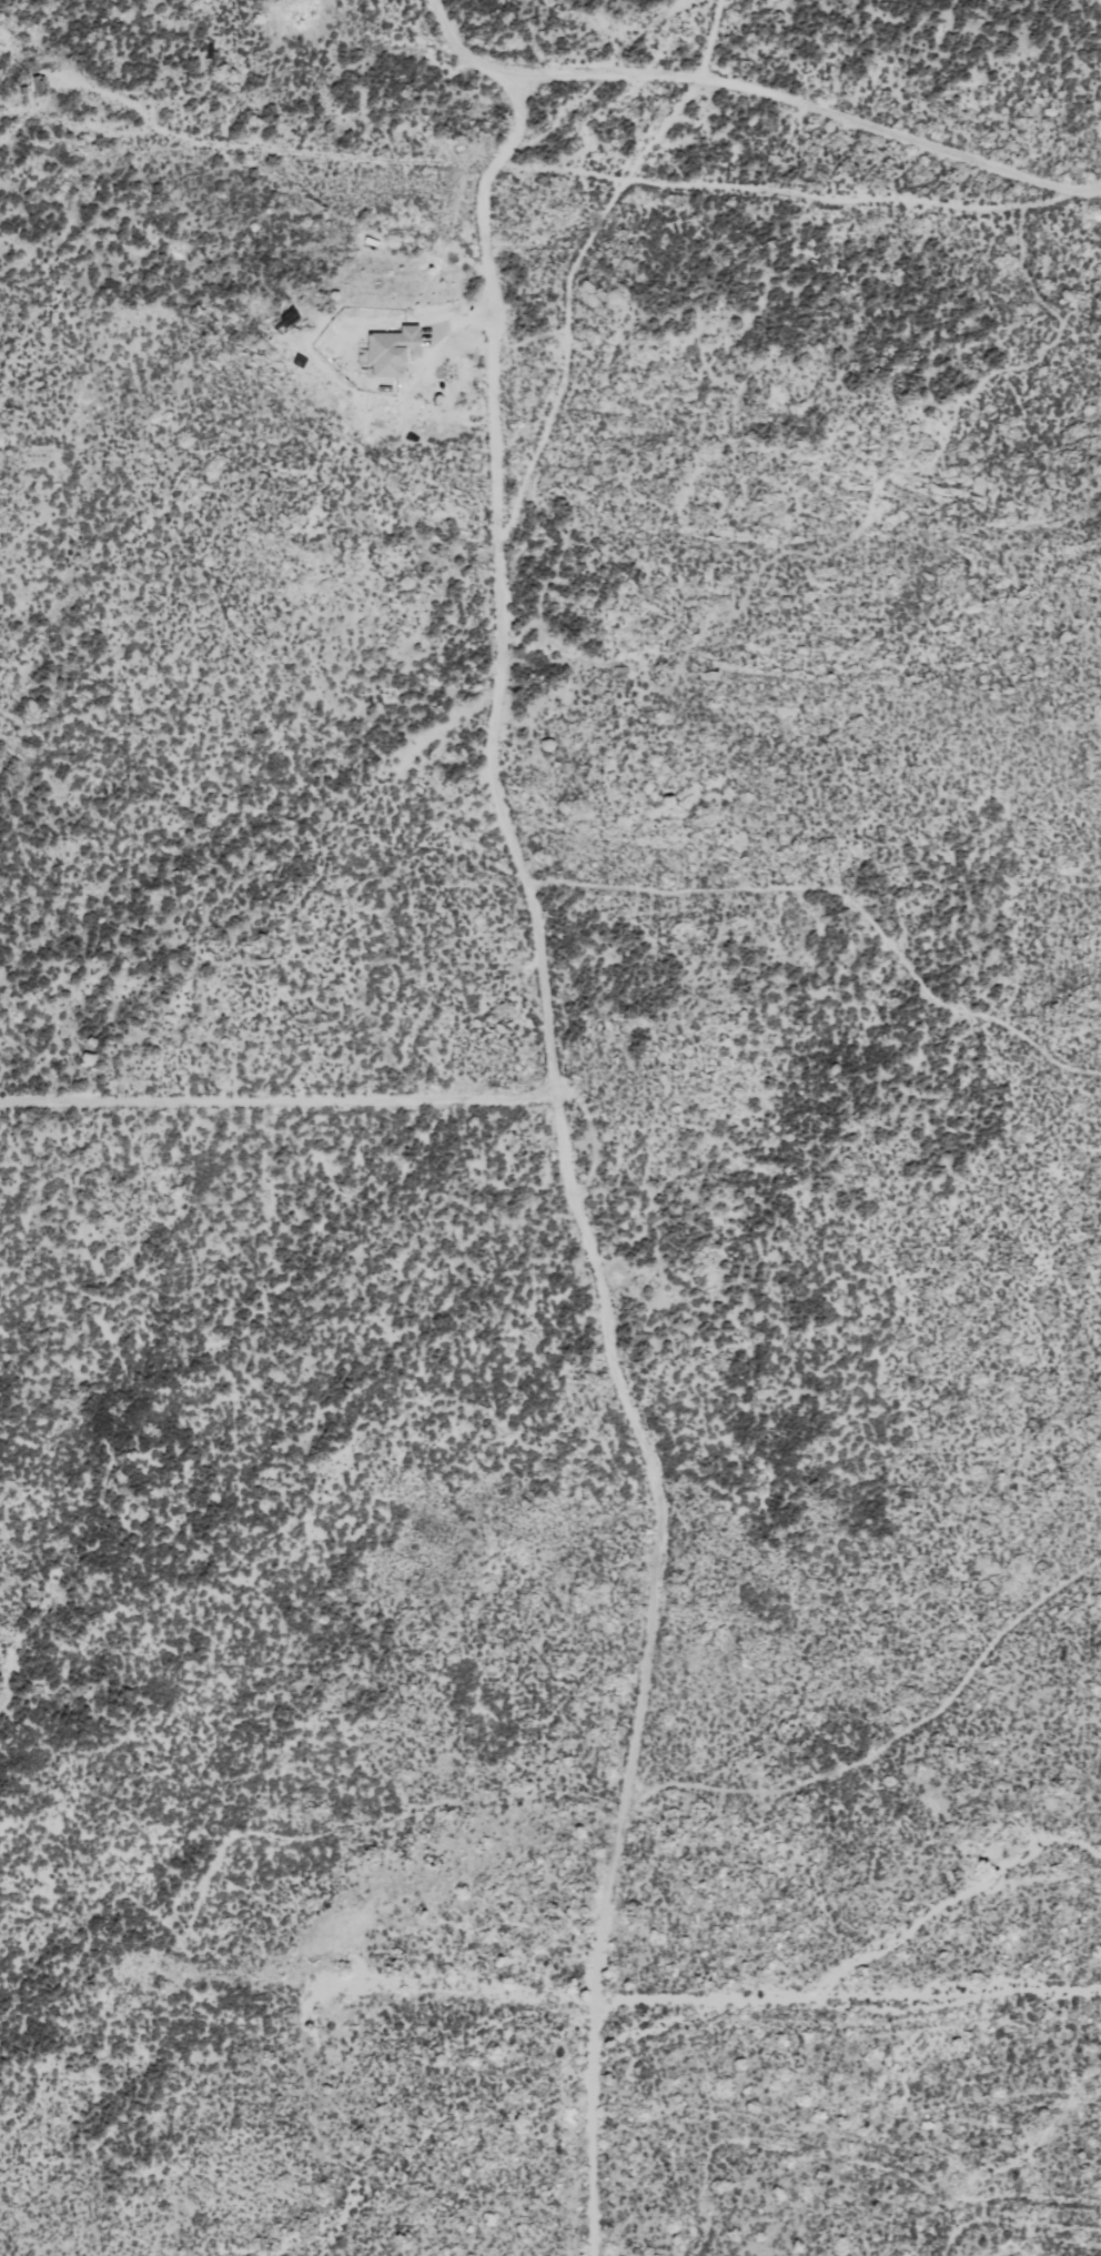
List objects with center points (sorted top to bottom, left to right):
road: (710, 38)
road: (756, 92)
building: (392, 349)
road: (493, 585)
road: (276, 1096)

